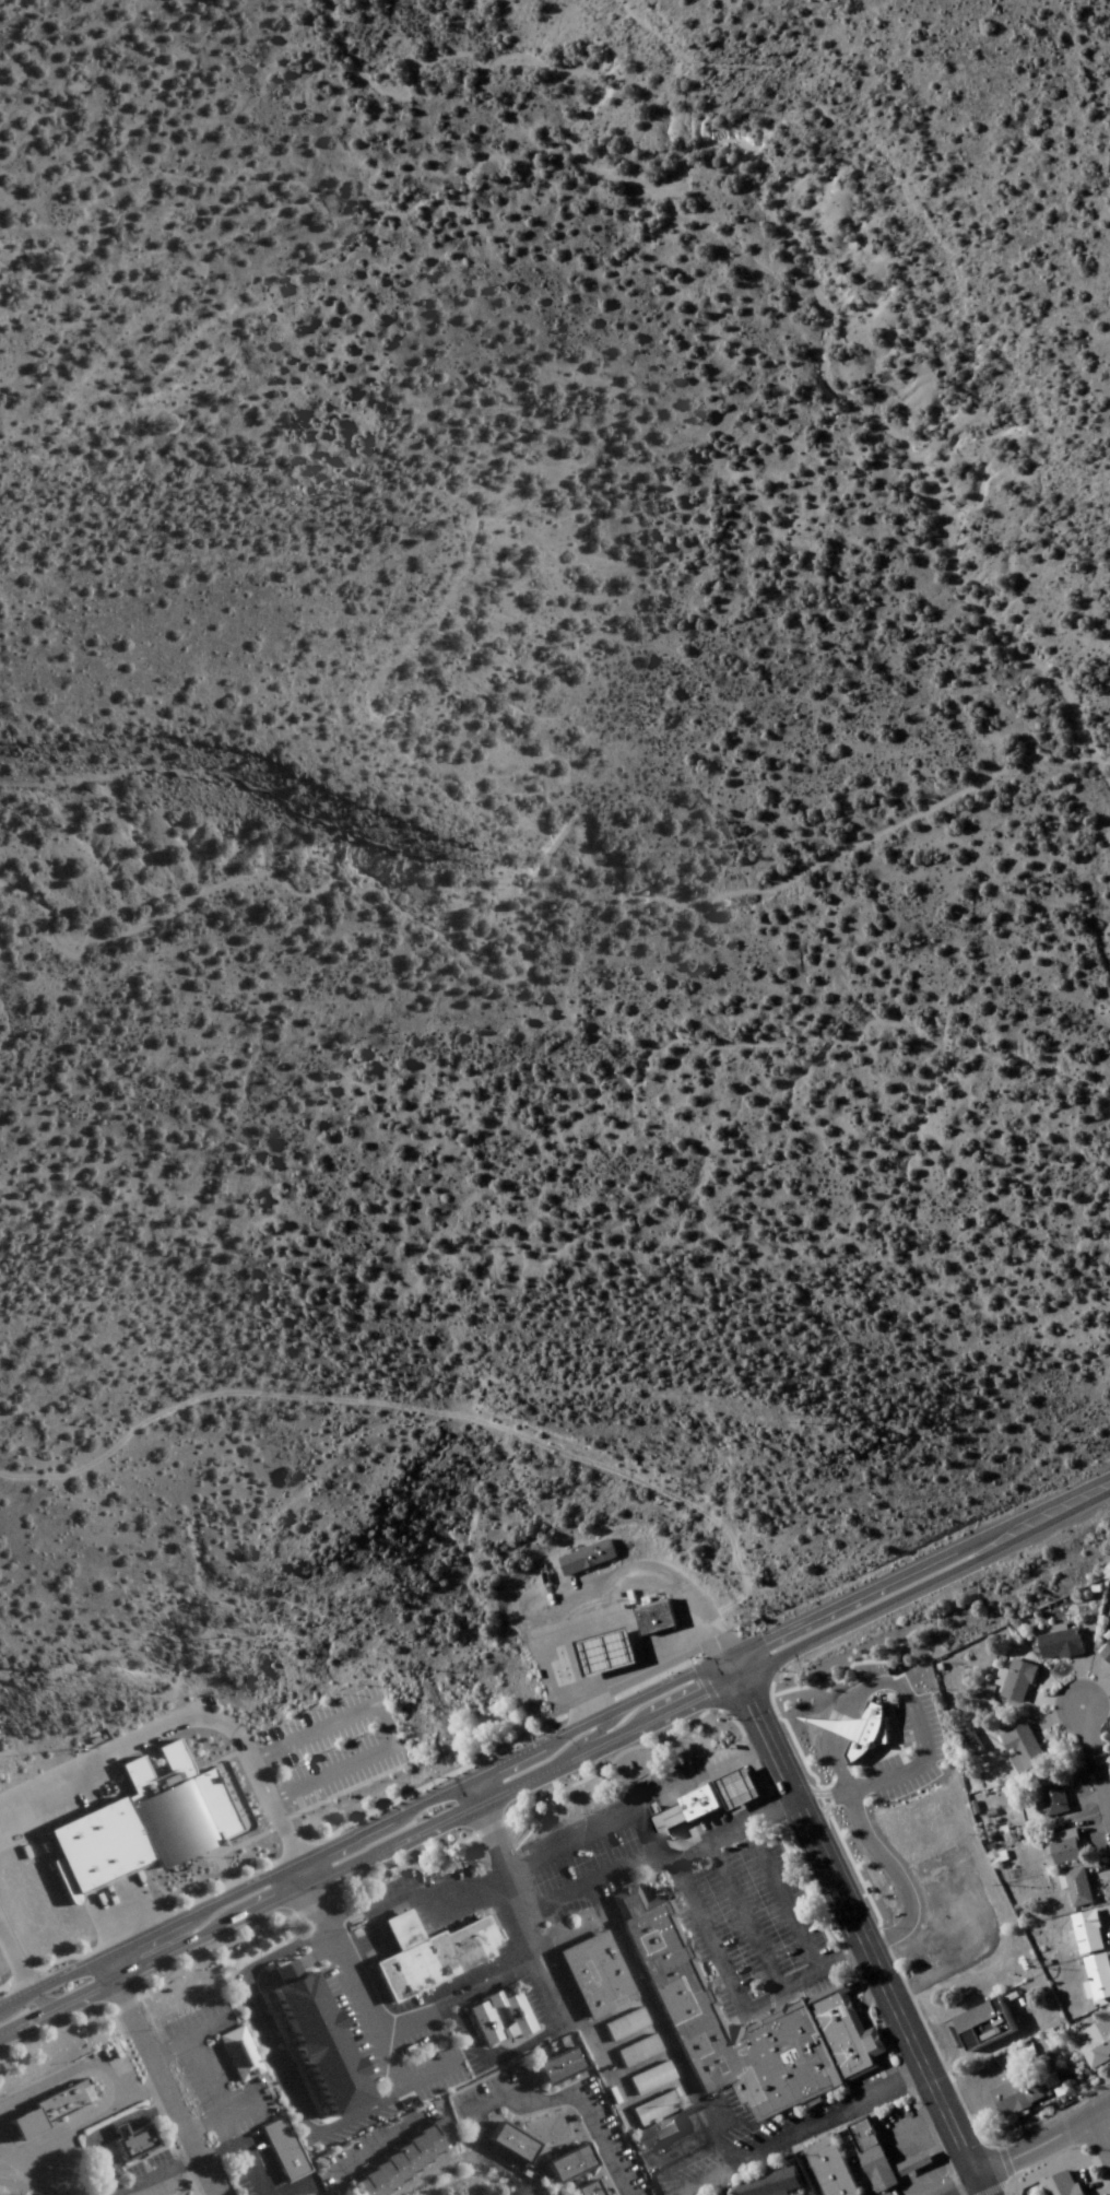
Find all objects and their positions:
road: (421, 1413)
road: (1054, 1509)
road: (938, 1552)
building: (586, 1558)
road: (637, 1582)
road: (803, 1613)
building: (650, 1615)
building: (1059, 1645)
building: (598, 1650)
gas station: (598, 1650)
traffic signals: (725, 1651)
building: (1106, 1654)
building: (1016, 1682)
road: (604, 1695)
parking lot: (317, 1709)
road: (385, 1715)
park: (711, 1724)
building: (847, 1724)
road: (176, 1728)
street lamp: (354, 1730)
road: (589, 1730)
parking lot: (323, 1735)
street lamp: (320, 1745)
building: (1020, 1749)
parking lot: (330, 1750)
road: (555, 1757)
street lamp: (290, 1759)
road: (776, 1766)
road: (1096, 1766)
road: (912, 1772)
street lamp: (375, 1775)
parking lot: (343, 1776)
building: (734, 1787)
street lamp: (340, 1792)
building: (1049, 1797)
road: (413, 1803)
building: (692, 1803)
street lamp: (307, 1805)
building: (146, 1820)
building: (660, 1821)
road: (587, 1824)
building: (1062, 1847)
park: (244, 1850)
road: (871, 1855)
flagpole: (208, 1856)
parking lot: (577, 1856)
road: (355, 1874)
building: (1077, 1888)
building: (440, 1892)
road: (737, 1913)
parking lot: (743, 1921)
building: (1085, 1934)
road: (341, 1948)
building: (417, 1953)
road: (11, 1967)
road: (493, 1969)
road: (61, 1971)
building: (590, 1975)
building: (1098, 1976)
road: (777, 1985)
road: (71, 1994)
road: (11, 1995)
road: (27, 2000)
building: (477, 2017)
road: (16, 2018)
building: (621, 2024)
building: (746, 2024)
building: (982, 2026)
road: (907, 2027)
building: (306, 2038)
road: (512, 2043)
building: (1095, 2043)
building: (634, 2052)
building: (228, 2054)
building: (553, 2066)
parking lot: (123, 2073)
road: (153, 2074)
building: (646, 2078)
building: (1051, 2082)
building: (1016, 2097)
building: (39, 2108)
building: (648, 2109)
road: (817, 2115)
road: (589, 2117)
building: (652, 2134)
road: (1102, 2134)
building: (505, 2143)
road: (1044, 2143)
building: (129, 2144)
building: (273, 2149)
building: (871, 2156)
parking lot: (47, 2159)
building: (395, 2161)
building: (562, 2162)
building: (913, 2164)
building: (828, 2168)
building: (769, 2184)
building: (1063, 2184)
road: (983, 2185)
road: (31, 2187)
building: (579, 2188)

